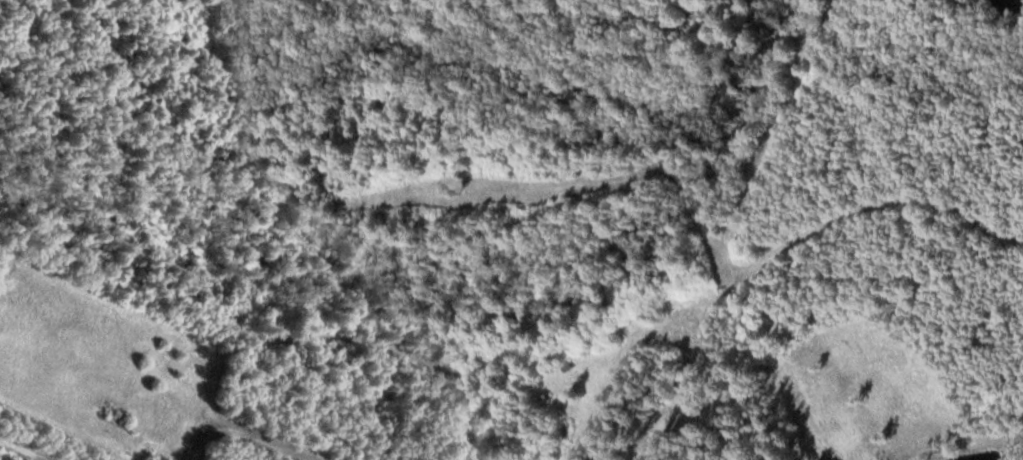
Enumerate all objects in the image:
park: (230, 232)
road: (306, 336)
building: (120, 414)
road: (245, 432)
road: (22, 450)

